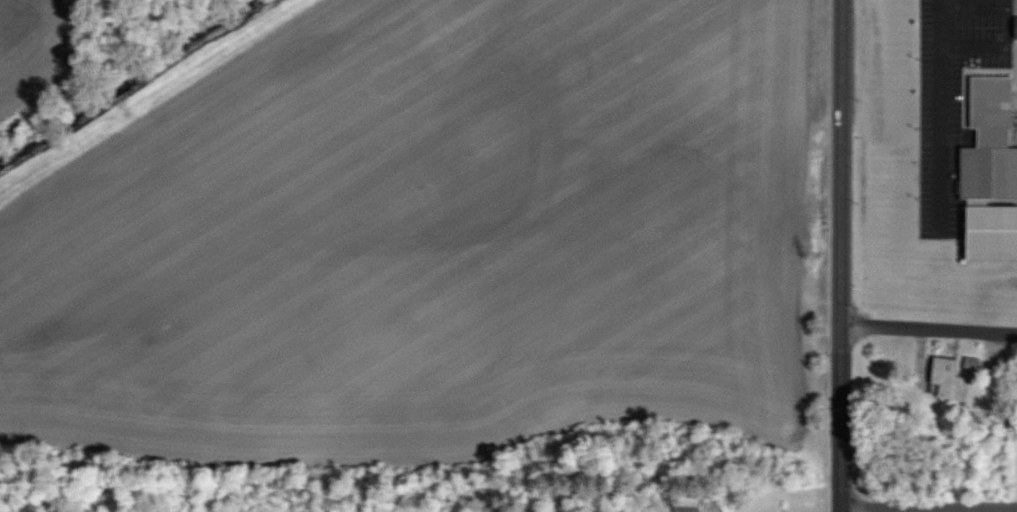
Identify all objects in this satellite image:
road: (942, 116)
building: (993, 142)
road: (842, 255)
road: (929, 326)
building: (952, 379)
road: (929, 504)
building: (689, 506)

